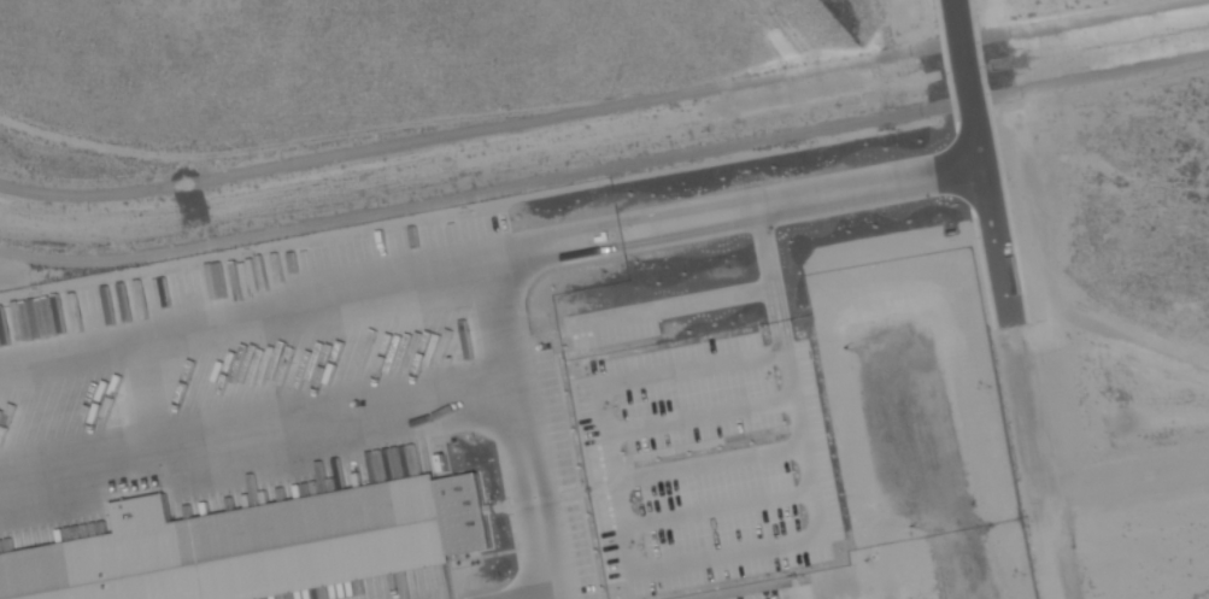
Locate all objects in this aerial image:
building: (258, 544)

